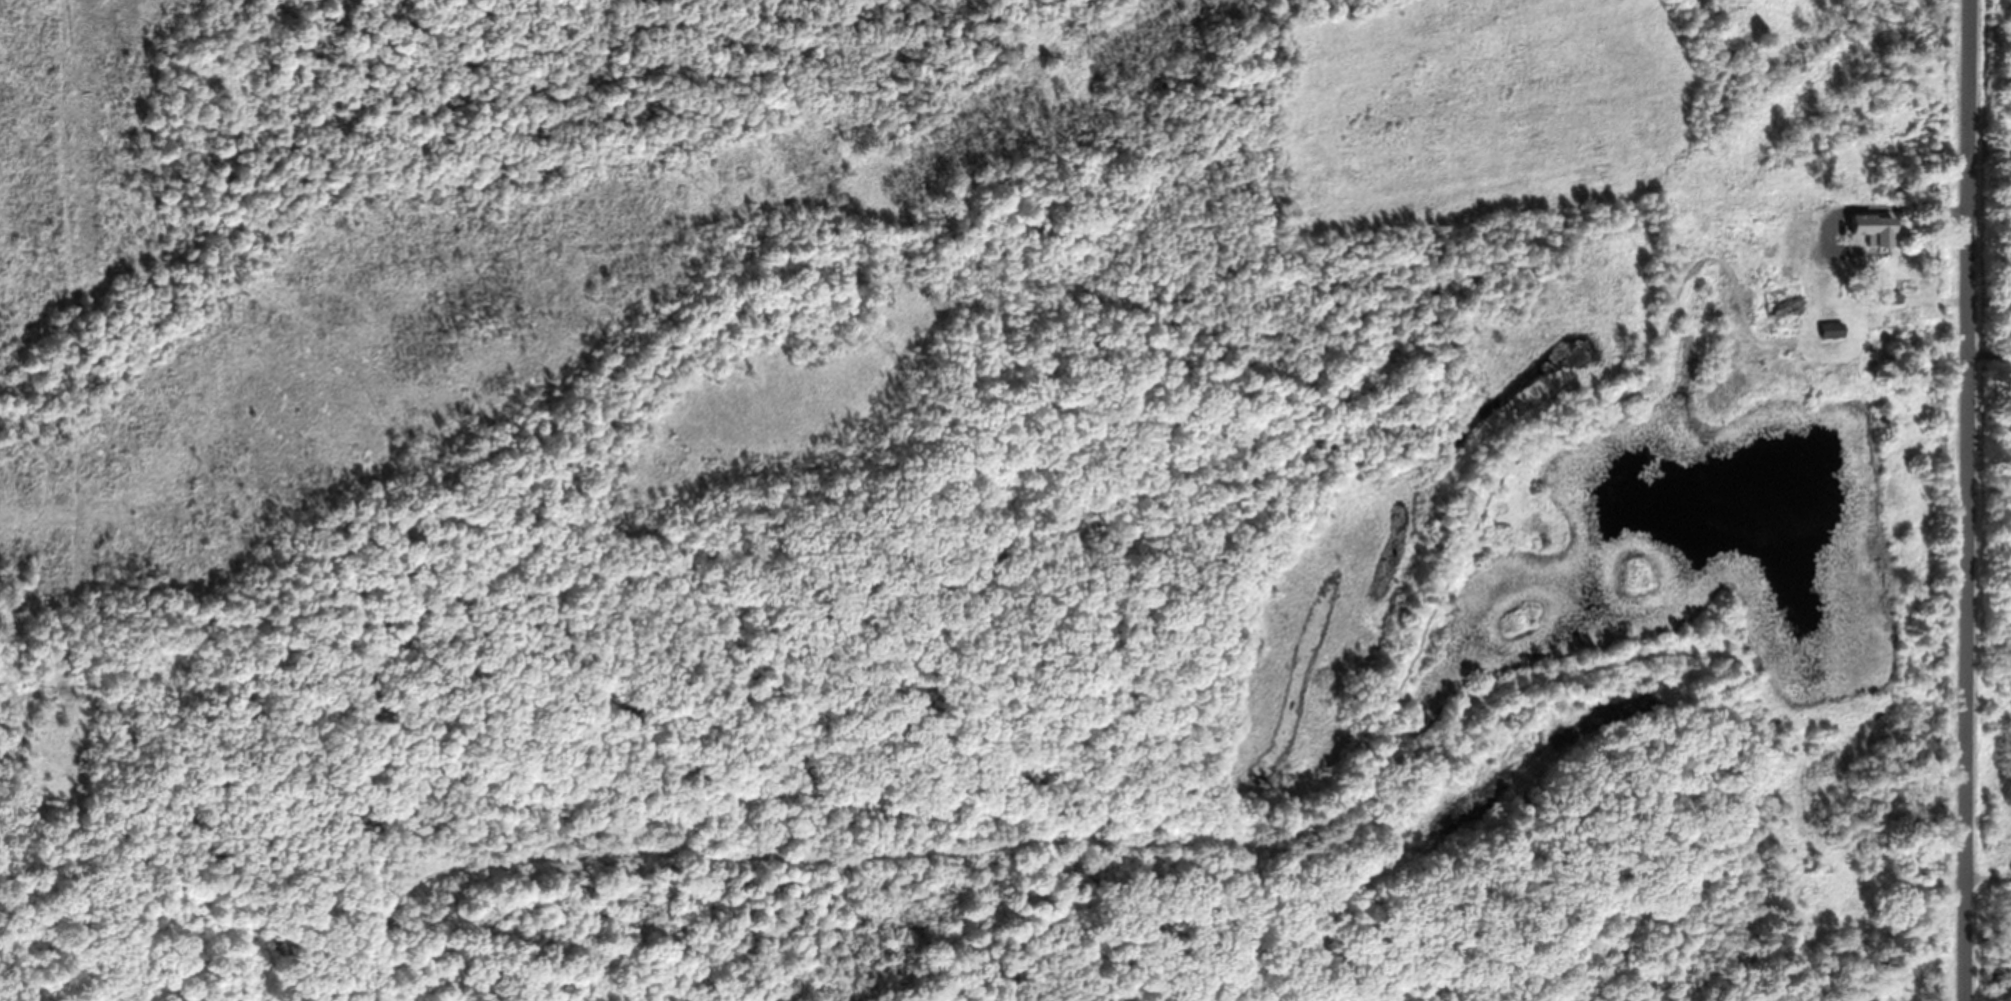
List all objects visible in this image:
building: (1872, 228)
building: (1891, 297)
building: (1787, 305)
building: (1832, 329)
road: (1965, 500)

